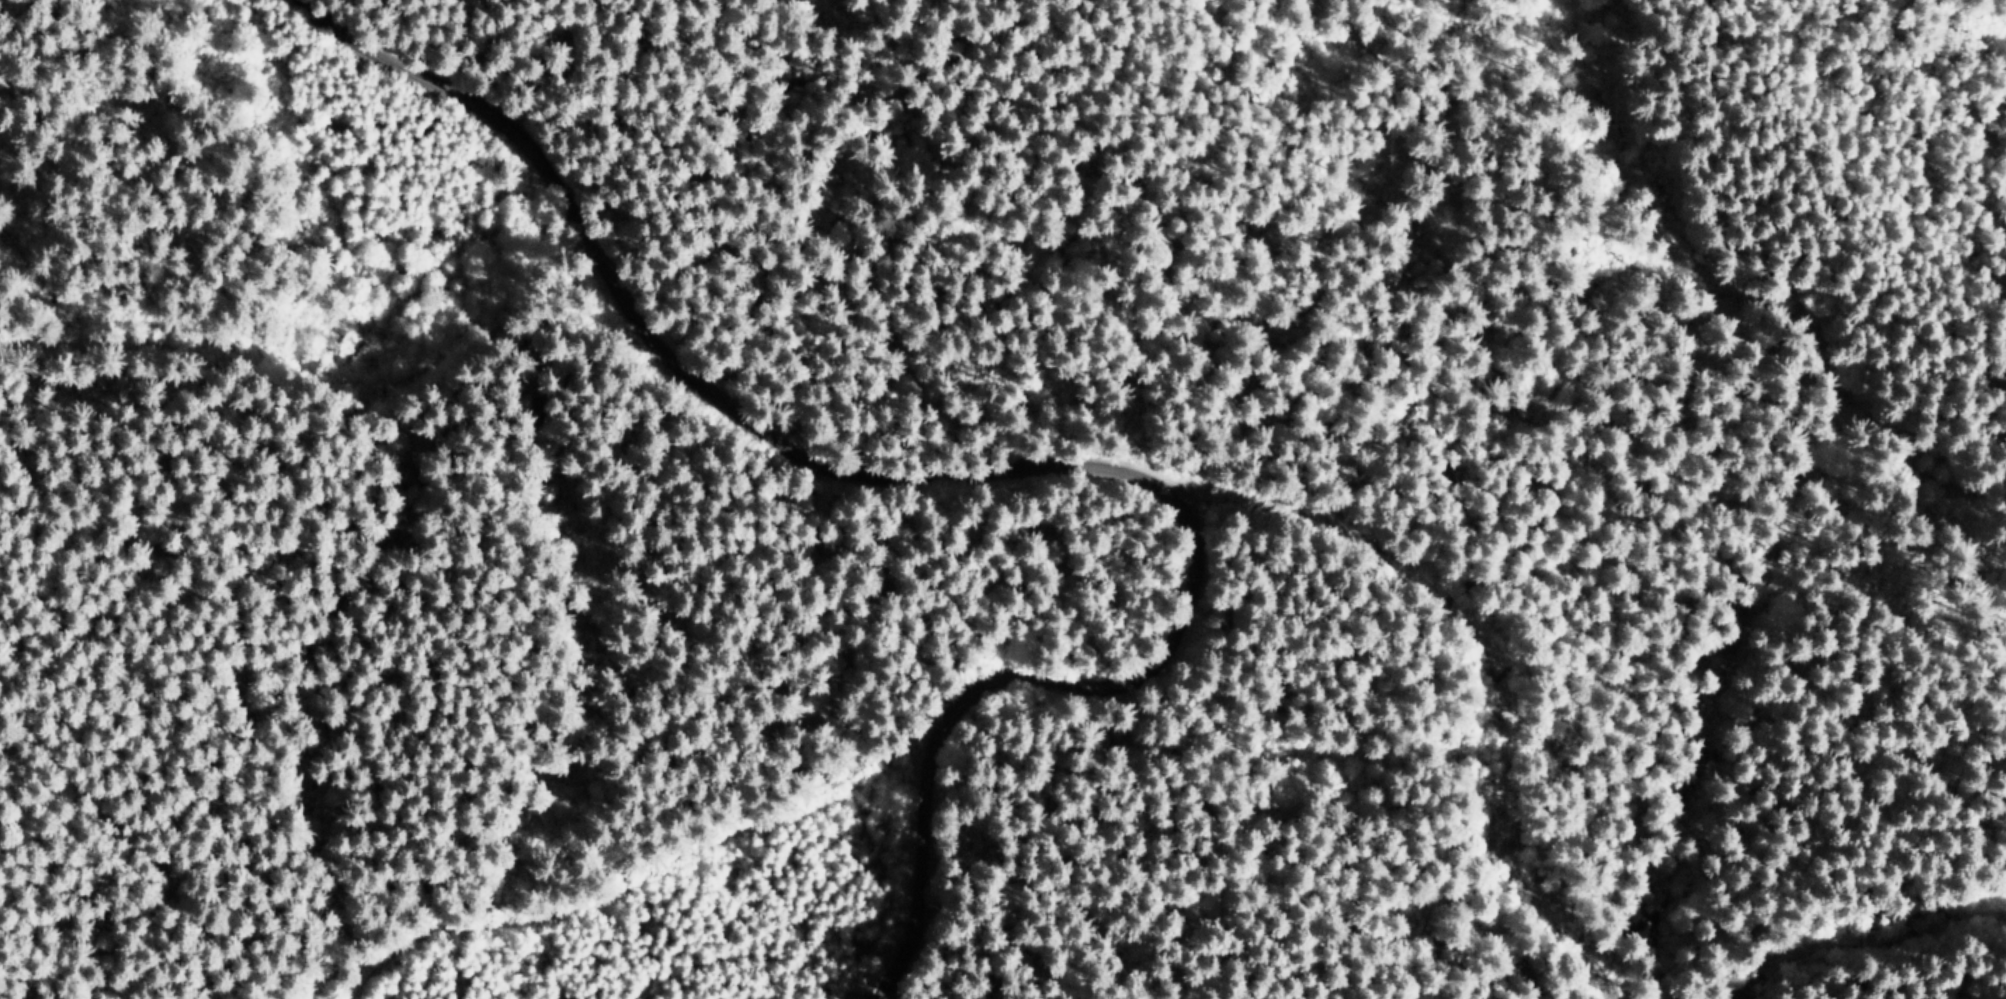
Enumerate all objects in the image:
road: (323, 340)
road: (699, 365)
road: (520, 613)
road: (1482, 669)
road: (969, 694)
road: (641, 892)
road: (1892, 927)
road: (114, 990)

